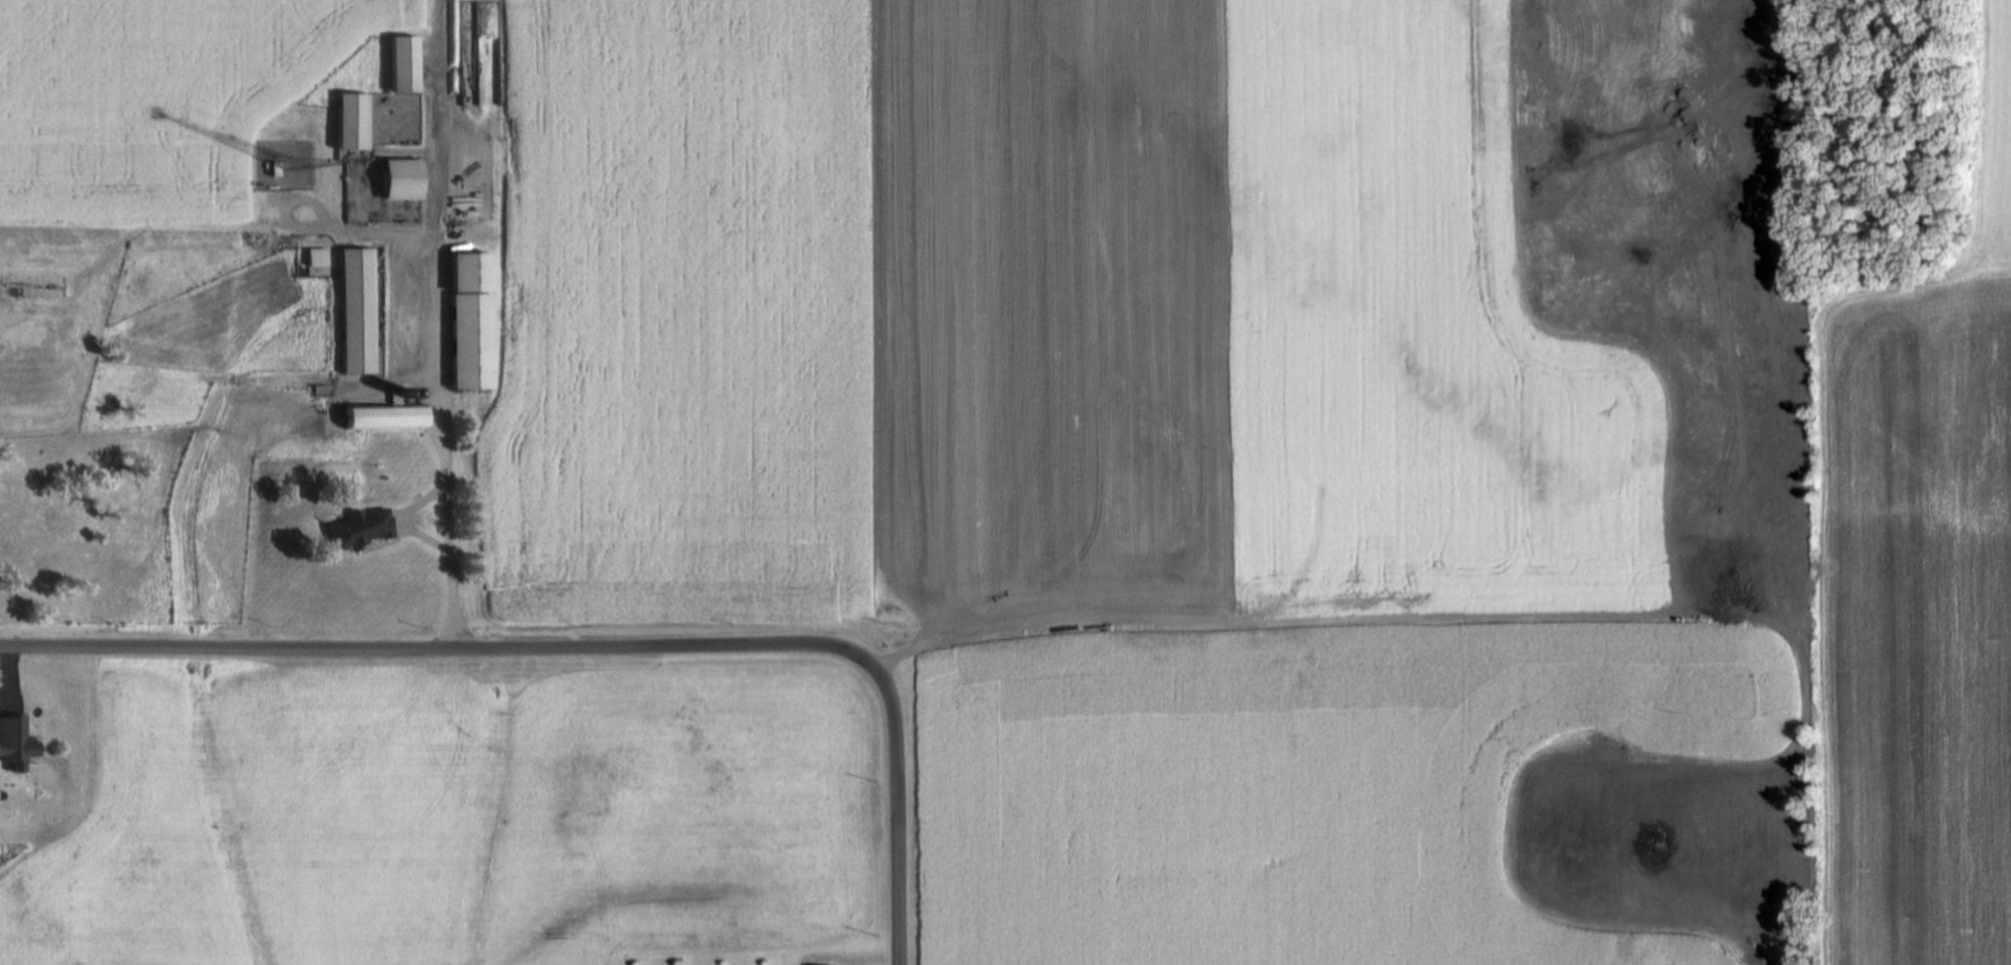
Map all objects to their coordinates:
road: (436, 20)
building: (404, 63)
building: (352, 121)
building: (275, 168)
building: (402, 179)
building: (316, 256)
building: (356, 310)
building: (471, 319)
road: (437, 344)
building: (383, 416)
building: (363, 526)
road: (1116, 628)
road: (591, 645)
building: (15, 738)

